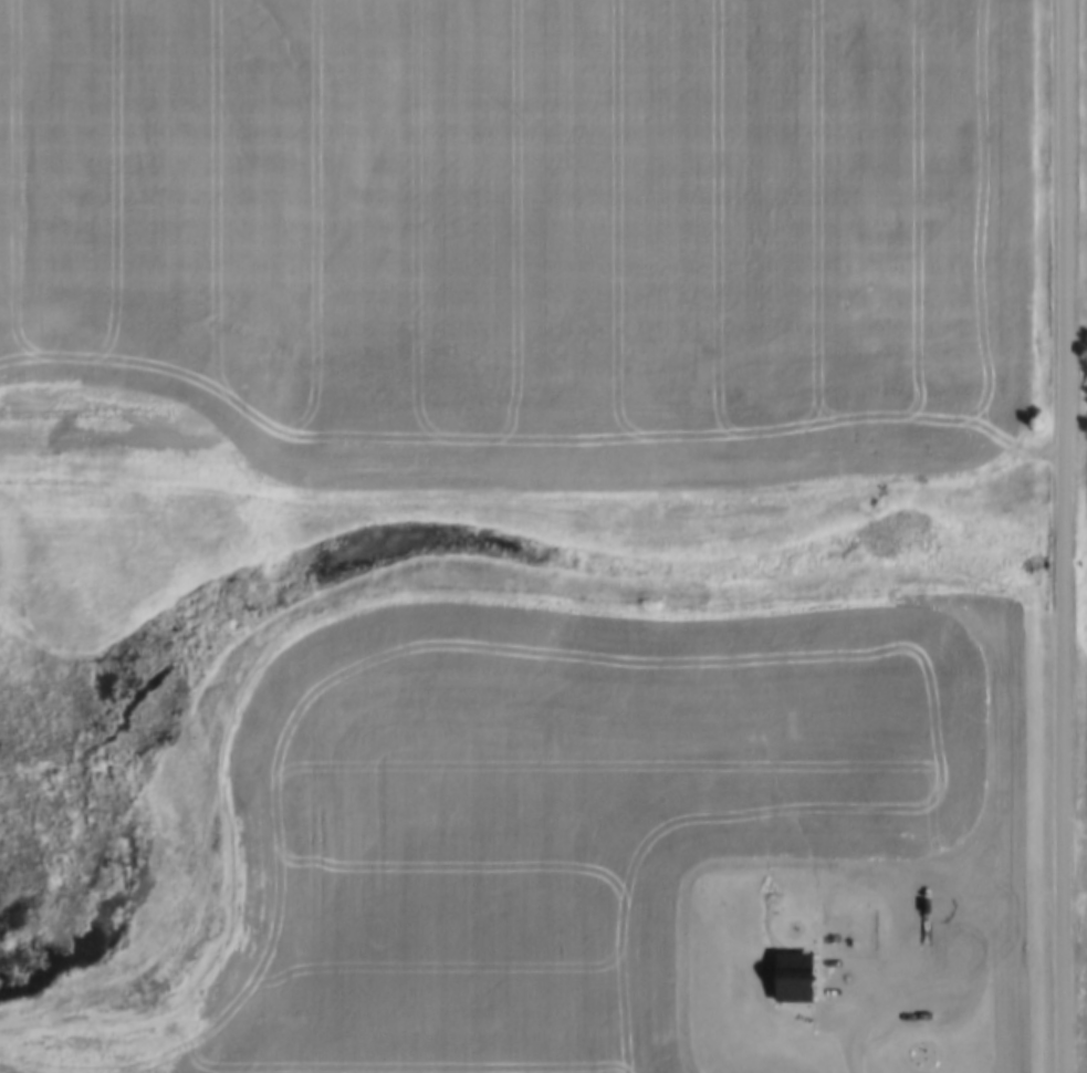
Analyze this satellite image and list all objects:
road: (1063, 535)
building: (797, 971)
building: (937, 1044)
silo: (937, 1044)

